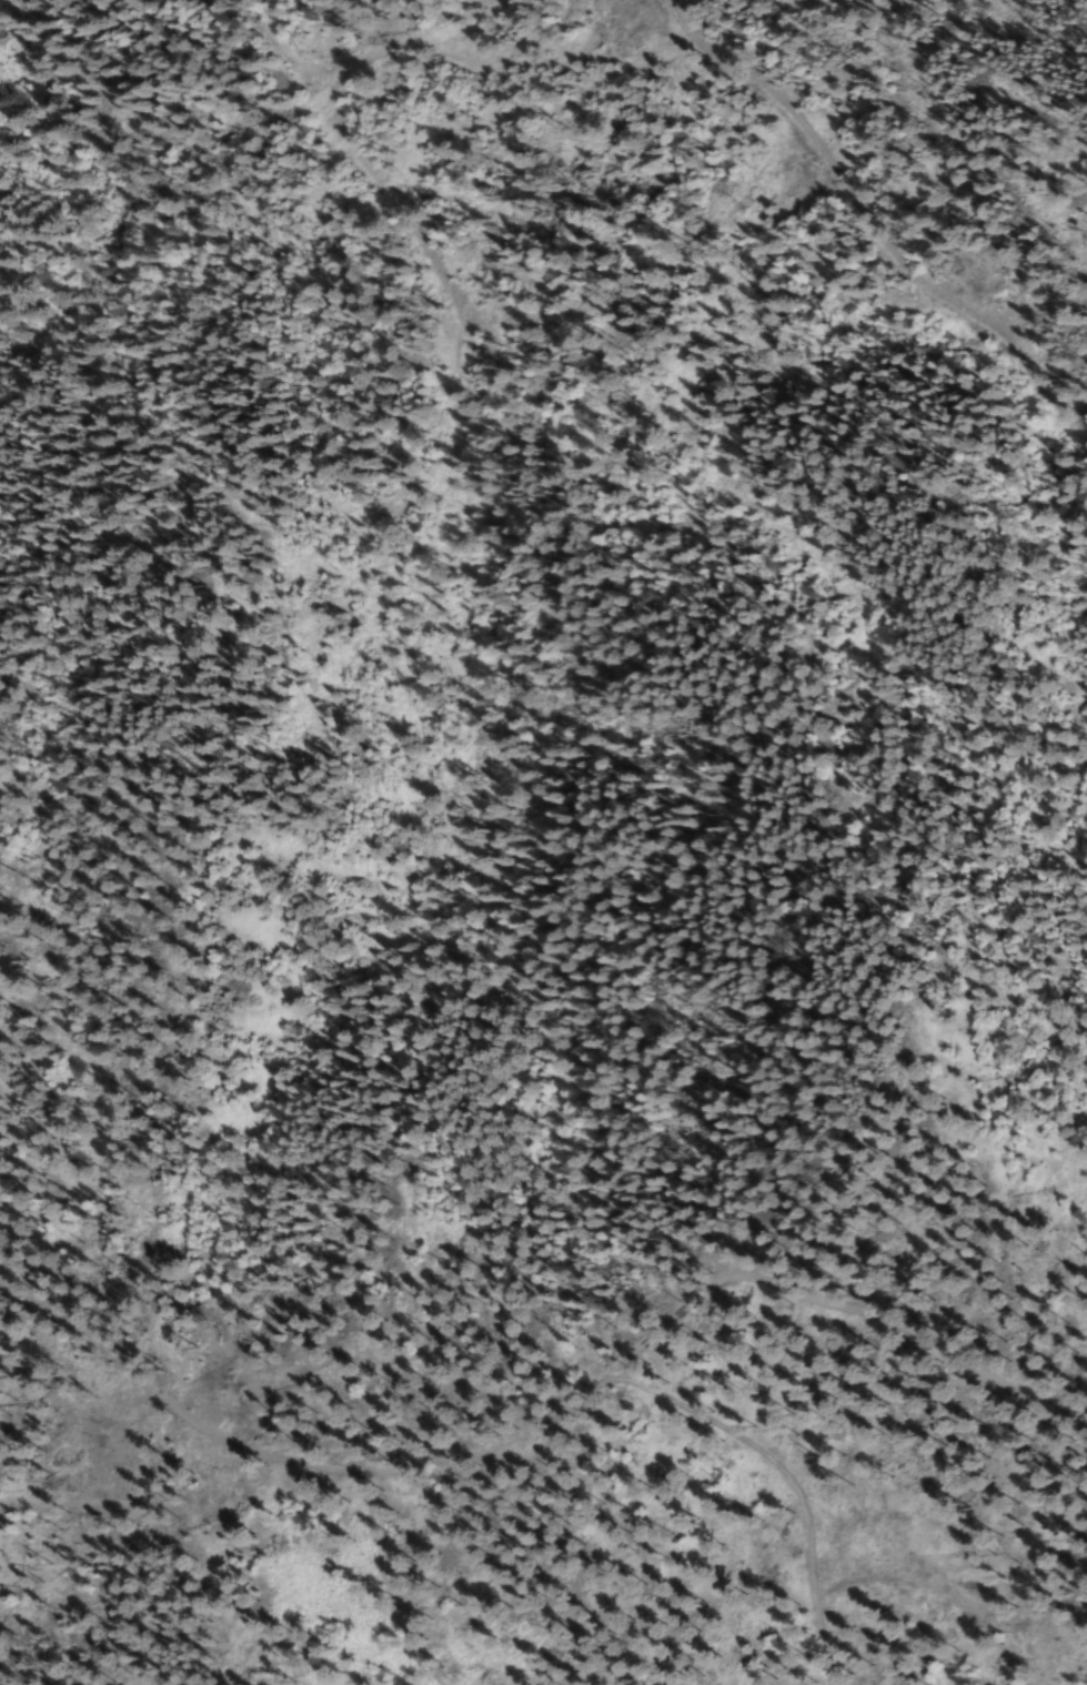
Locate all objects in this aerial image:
road: (866, 226)
road: (554, 1423)
road: (785, 1483)

